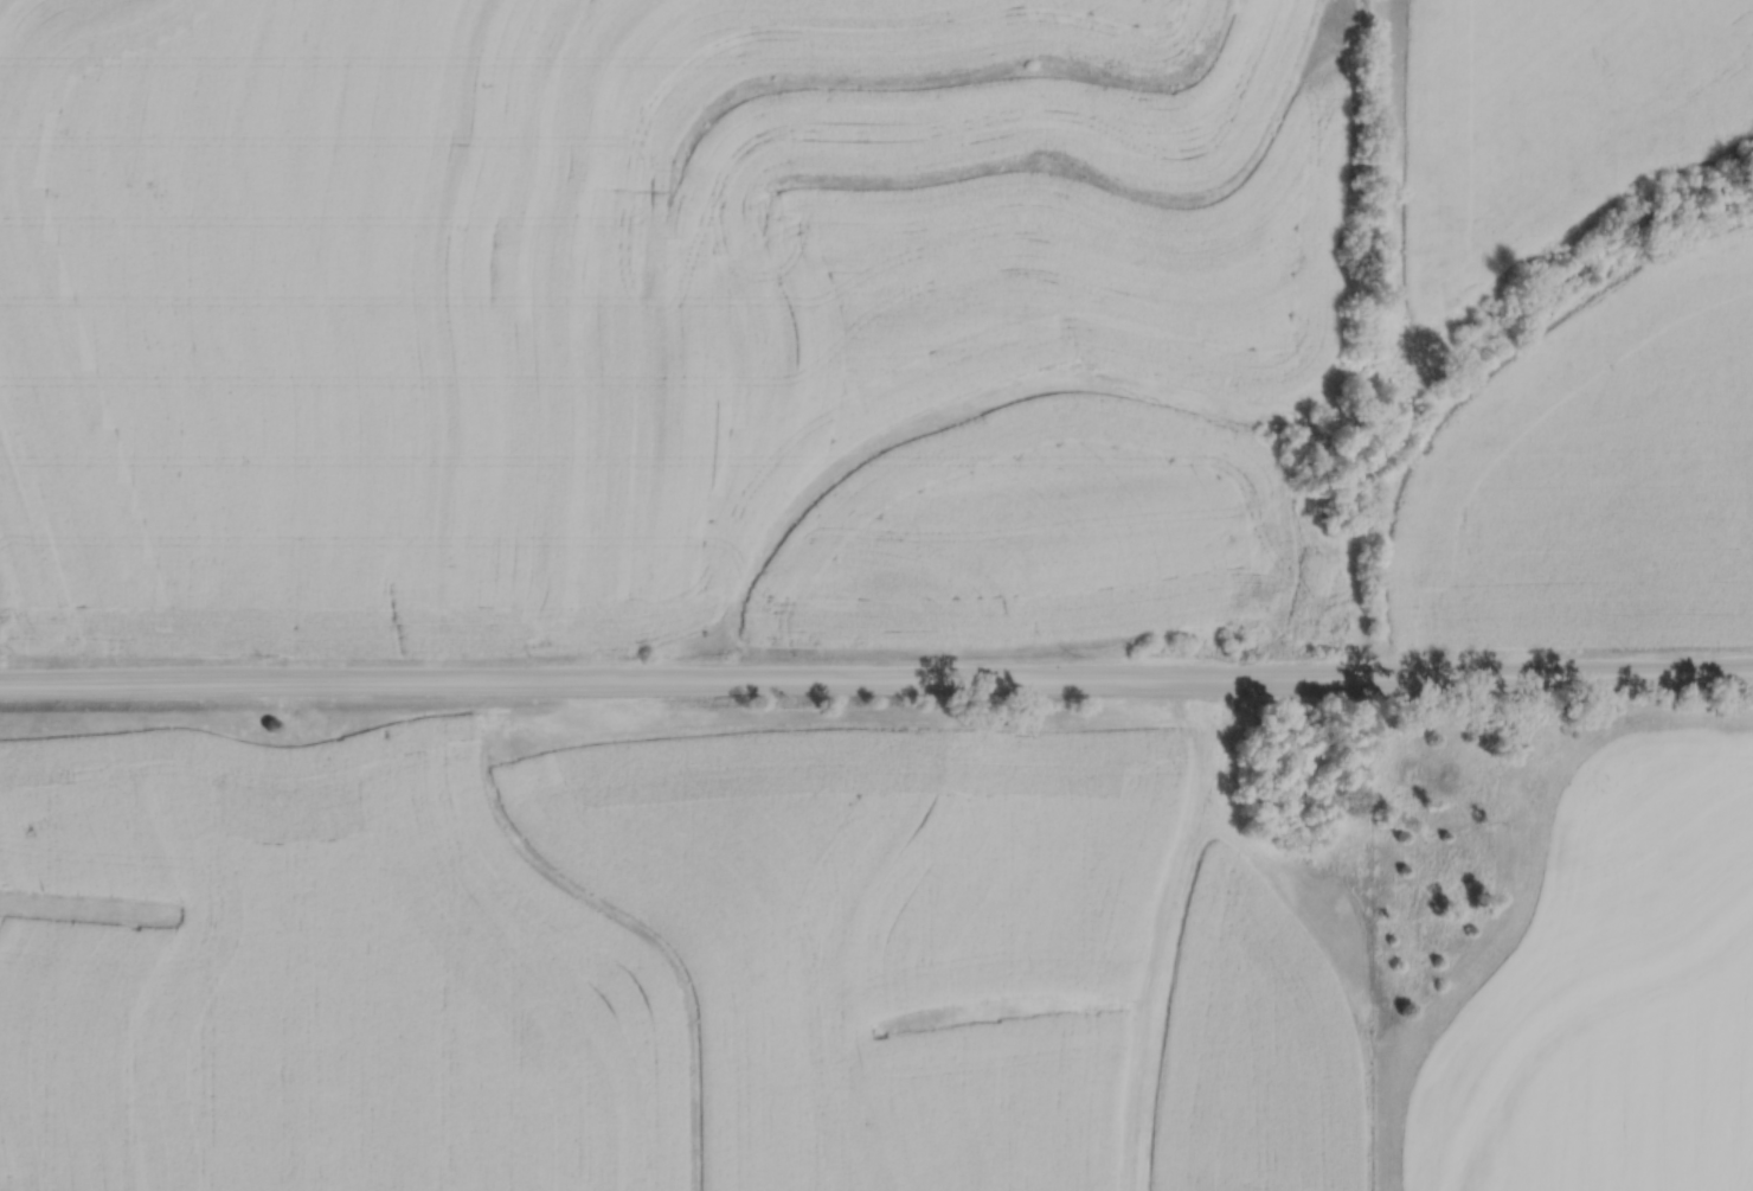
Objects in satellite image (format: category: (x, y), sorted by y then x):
road: (875, 678)

